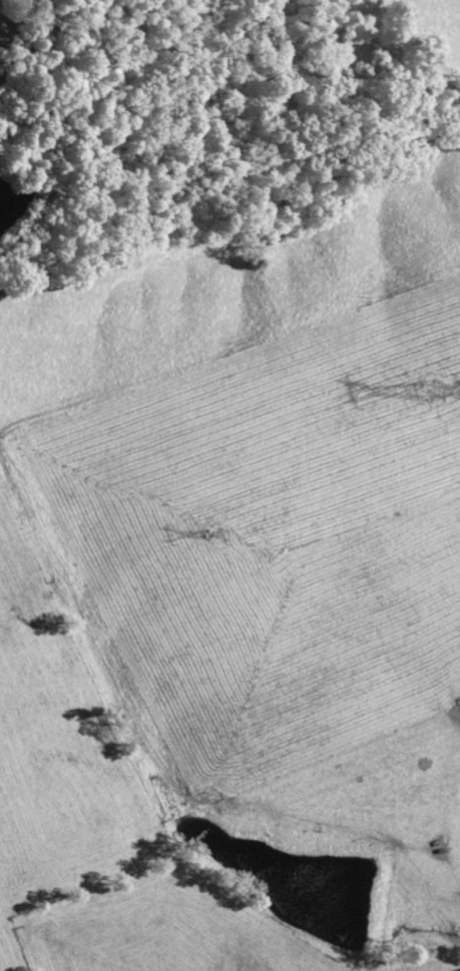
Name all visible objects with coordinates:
power tower: (429, 393)

